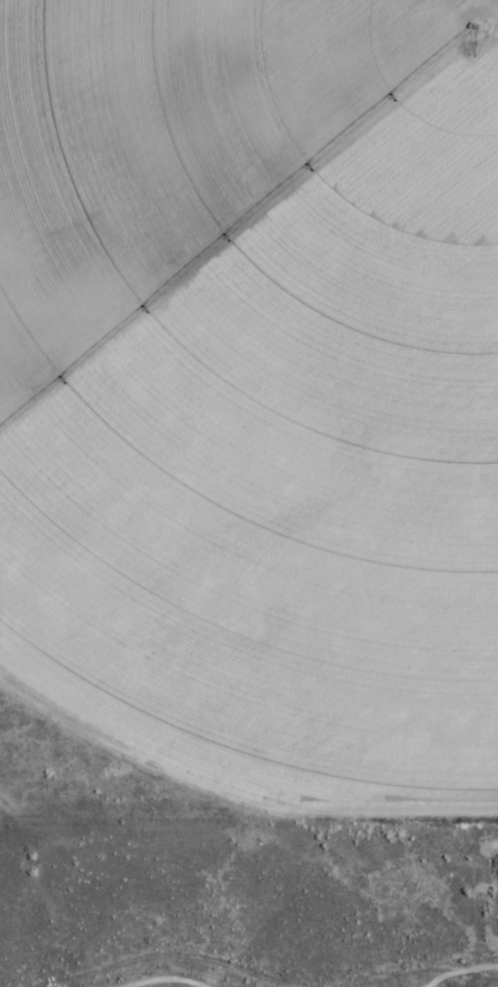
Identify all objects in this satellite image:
road: (462, 970)
road: (168, 980)

